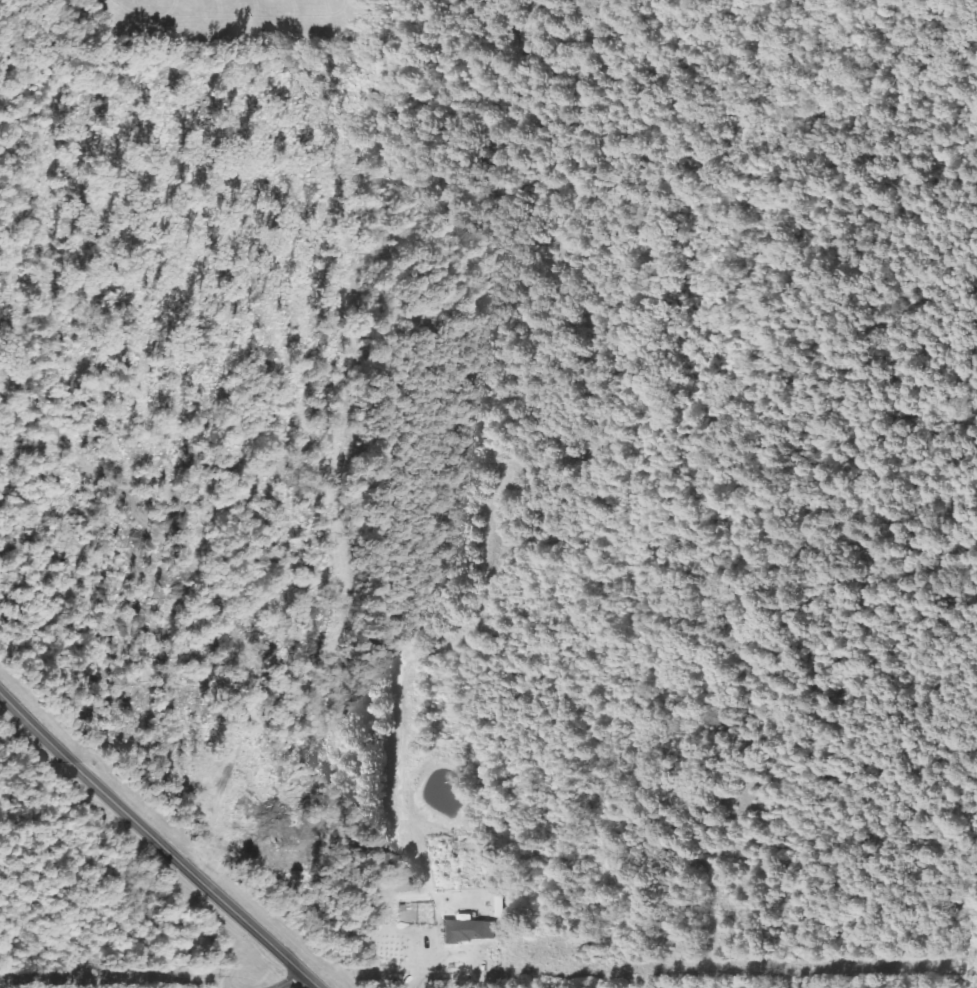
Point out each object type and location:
road: (158, 842)
building: (470, 932)

